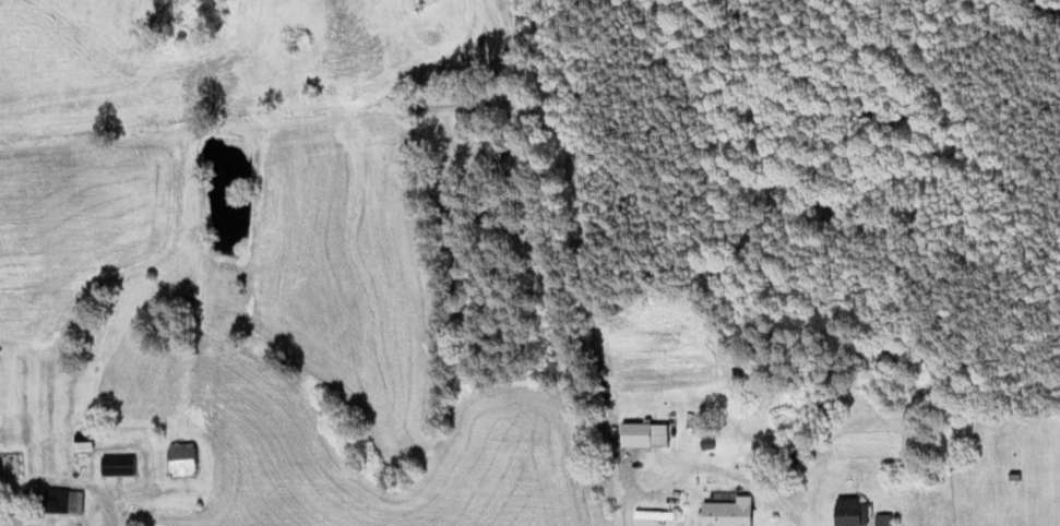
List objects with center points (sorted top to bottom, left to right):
crop: (79, 222)
building: (642, 437)
building: (180, 461)
road: (708, 468)
building: (0, 473)
road: (61, 478)
building: (61, 502)
building: (726, 513)
building: (849, 513)
building: (652, 516)

